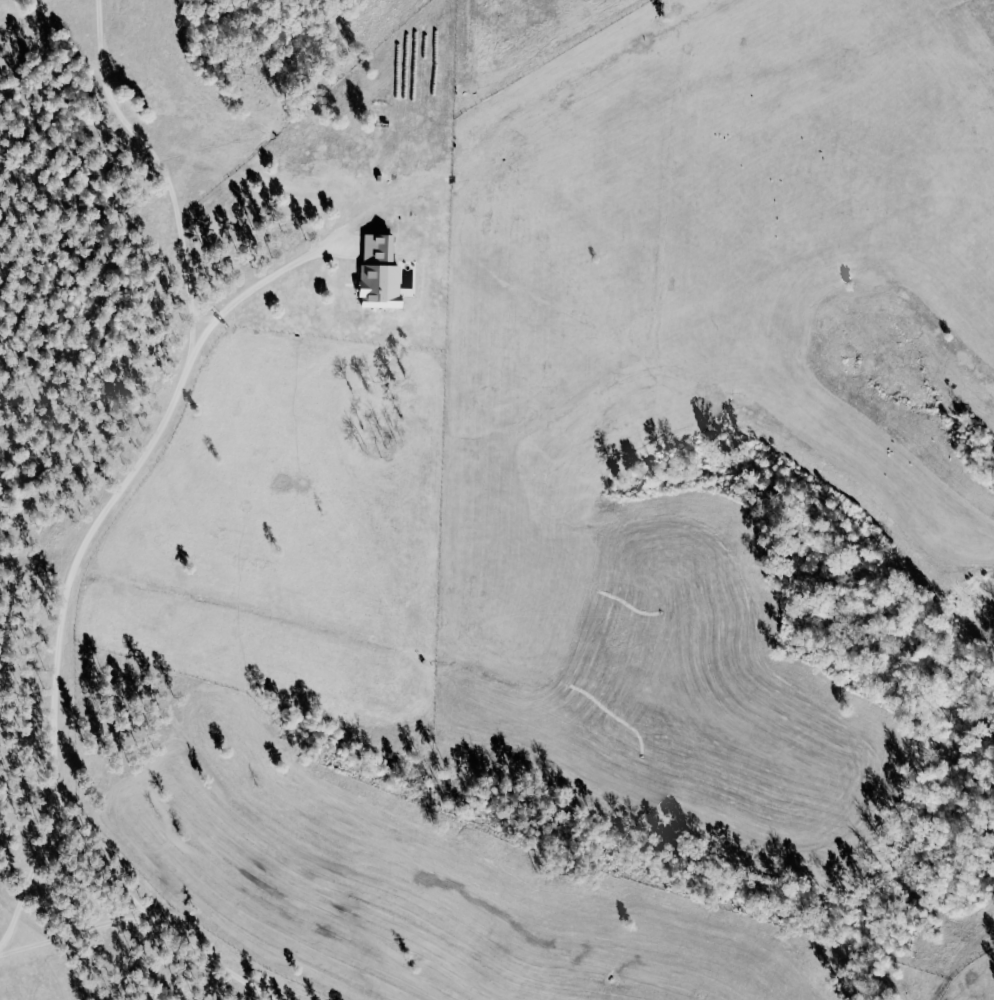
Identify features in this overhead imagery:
building: (382, 248)
road: (262, 278)
building: (385, 286)
road: (131, 467)

